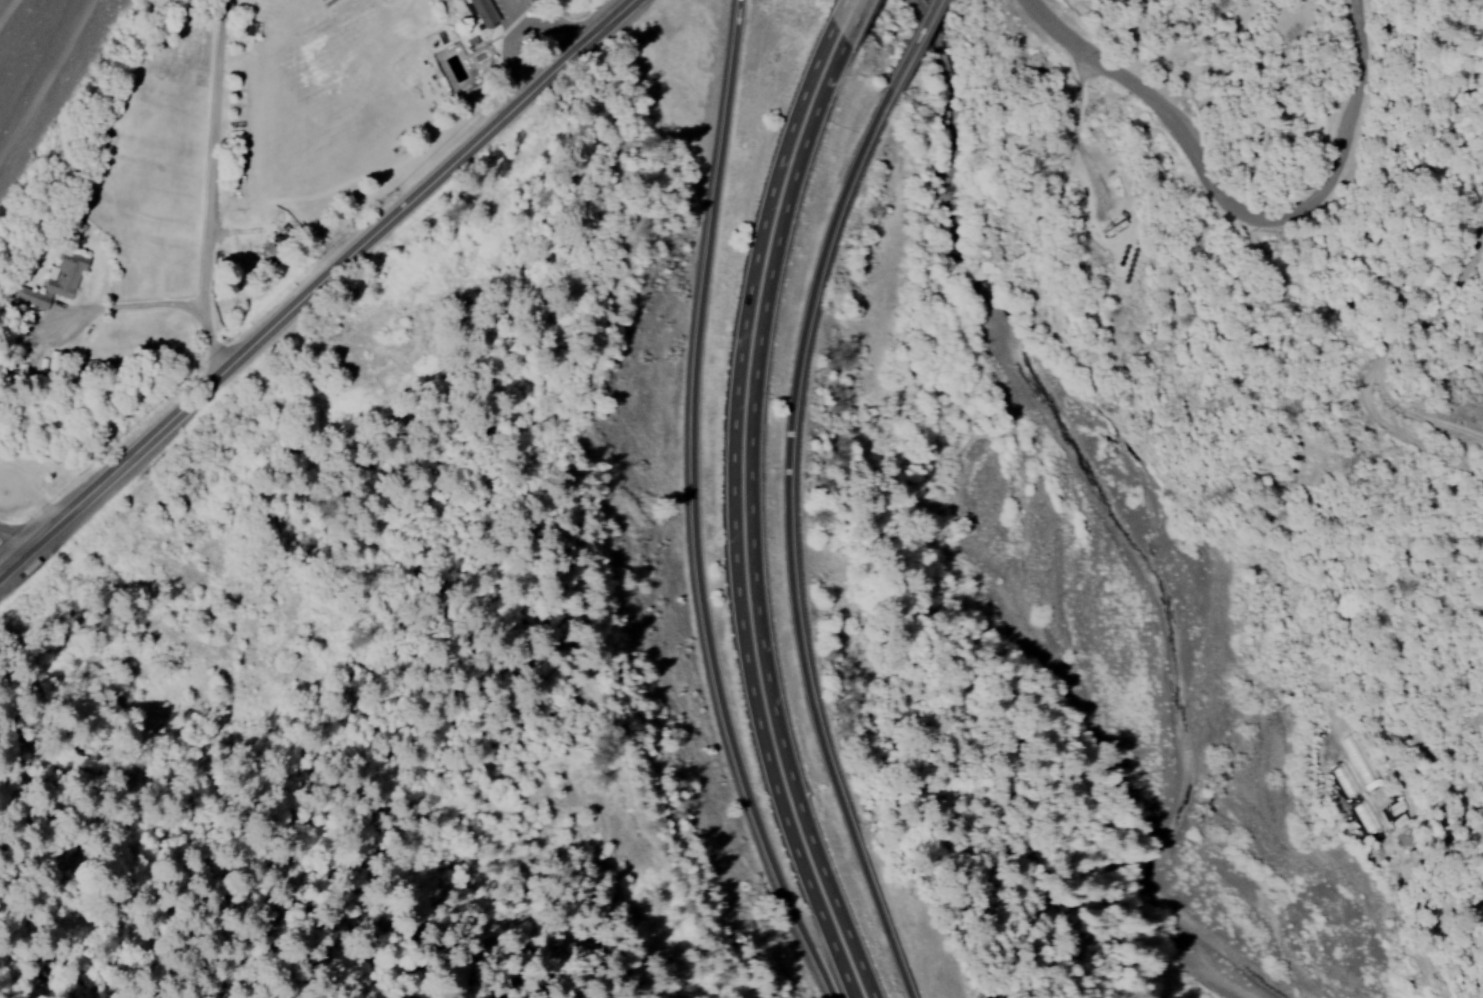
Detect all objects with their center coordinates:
building: (481, 12)
road: (848, 15)
road: (543, 25)
road: (920, 30)
road: (1236, 205)
building: (54, 282)
road: (316, 289)
road: (34, 489)
road: (685, 510)
road: (743, 516)
road: (796, 528)
road: (13, 547)

